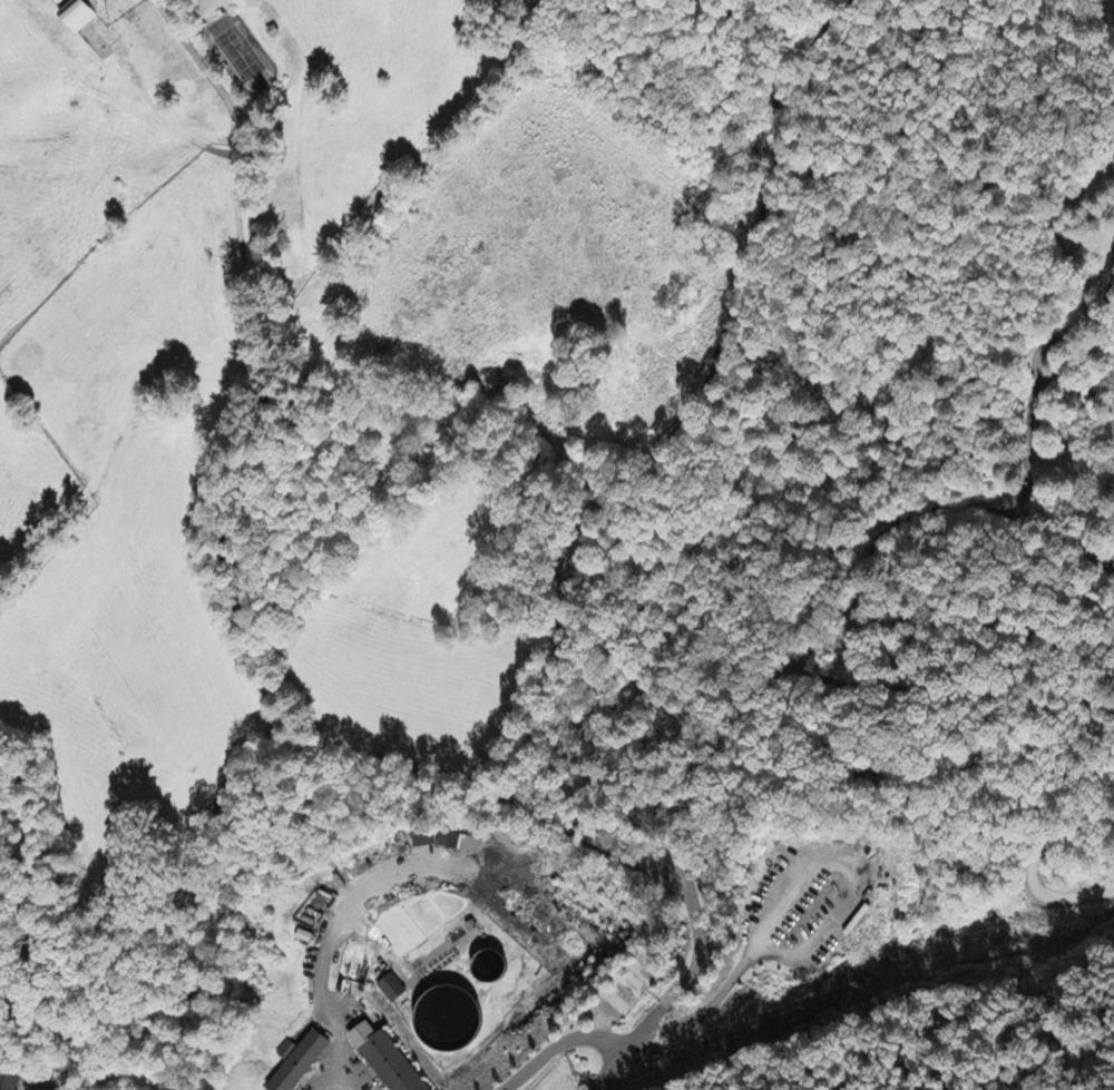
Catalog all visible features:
building: (77, 17)
road: (711, 75)
road: (280, 373)
road: (579, 456)
road: (683, 838)
building: (421, 841)
building: (458, 844)
road: (16, 914)
power tower: (1035, 923)
road: (333, 936)
road: (682, 984)
building: (389, 990)
road: (76, 1041)
road: (558, 1047)
building: (384, 1060)
building: (299, 1062)
building: (9, 1080)
power tower: (587, 1089)

